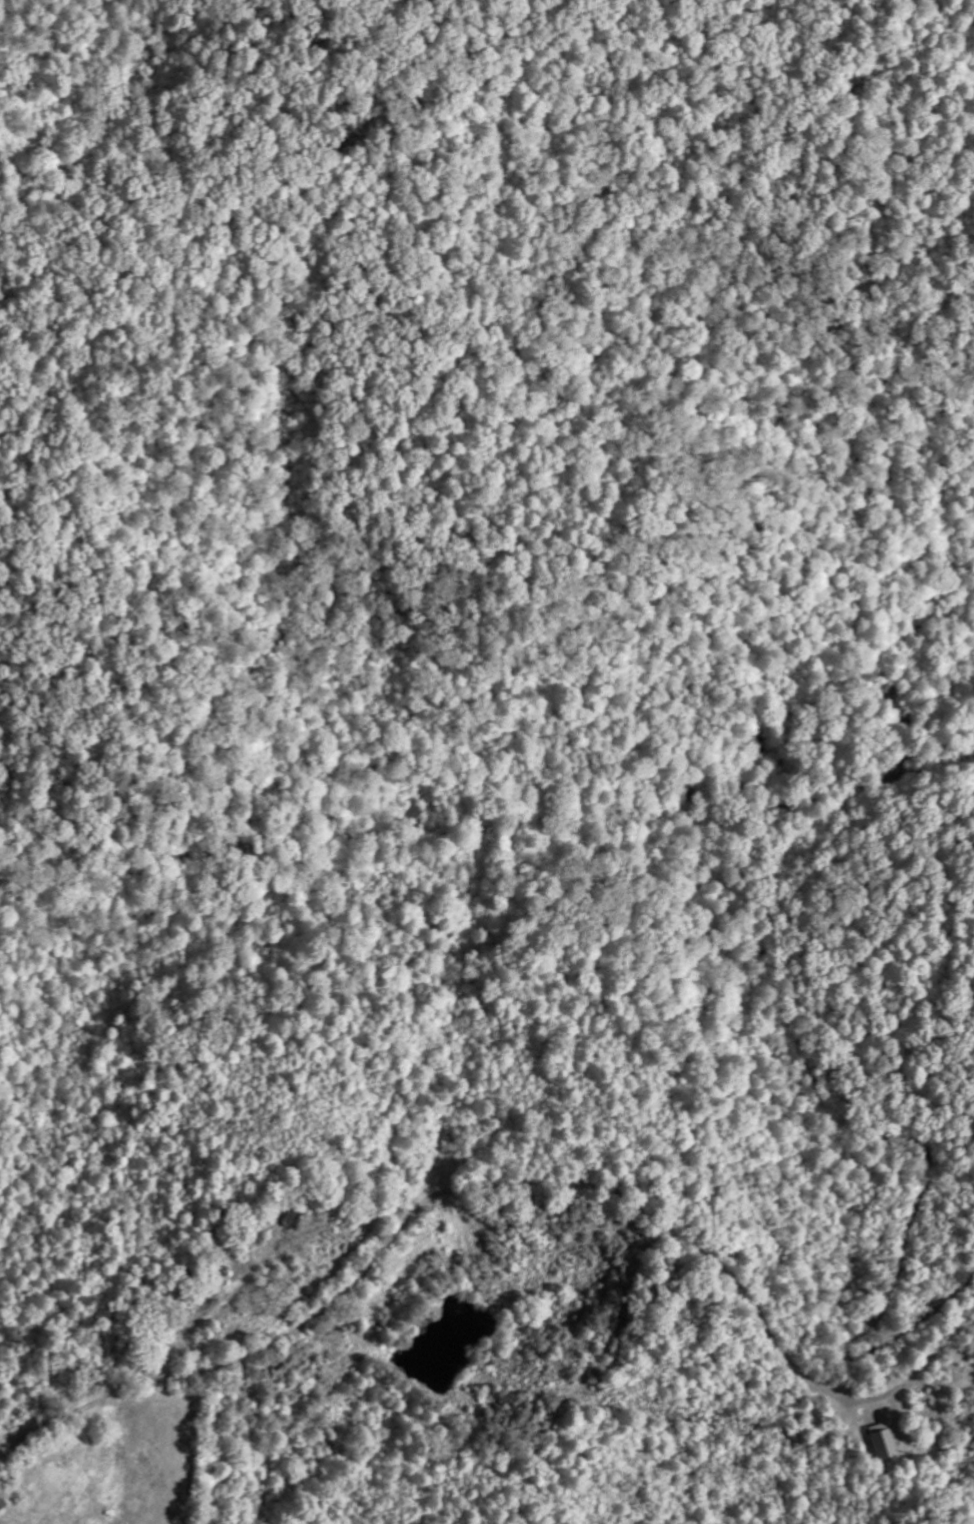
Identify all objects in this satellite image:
building: (880, 1443)

